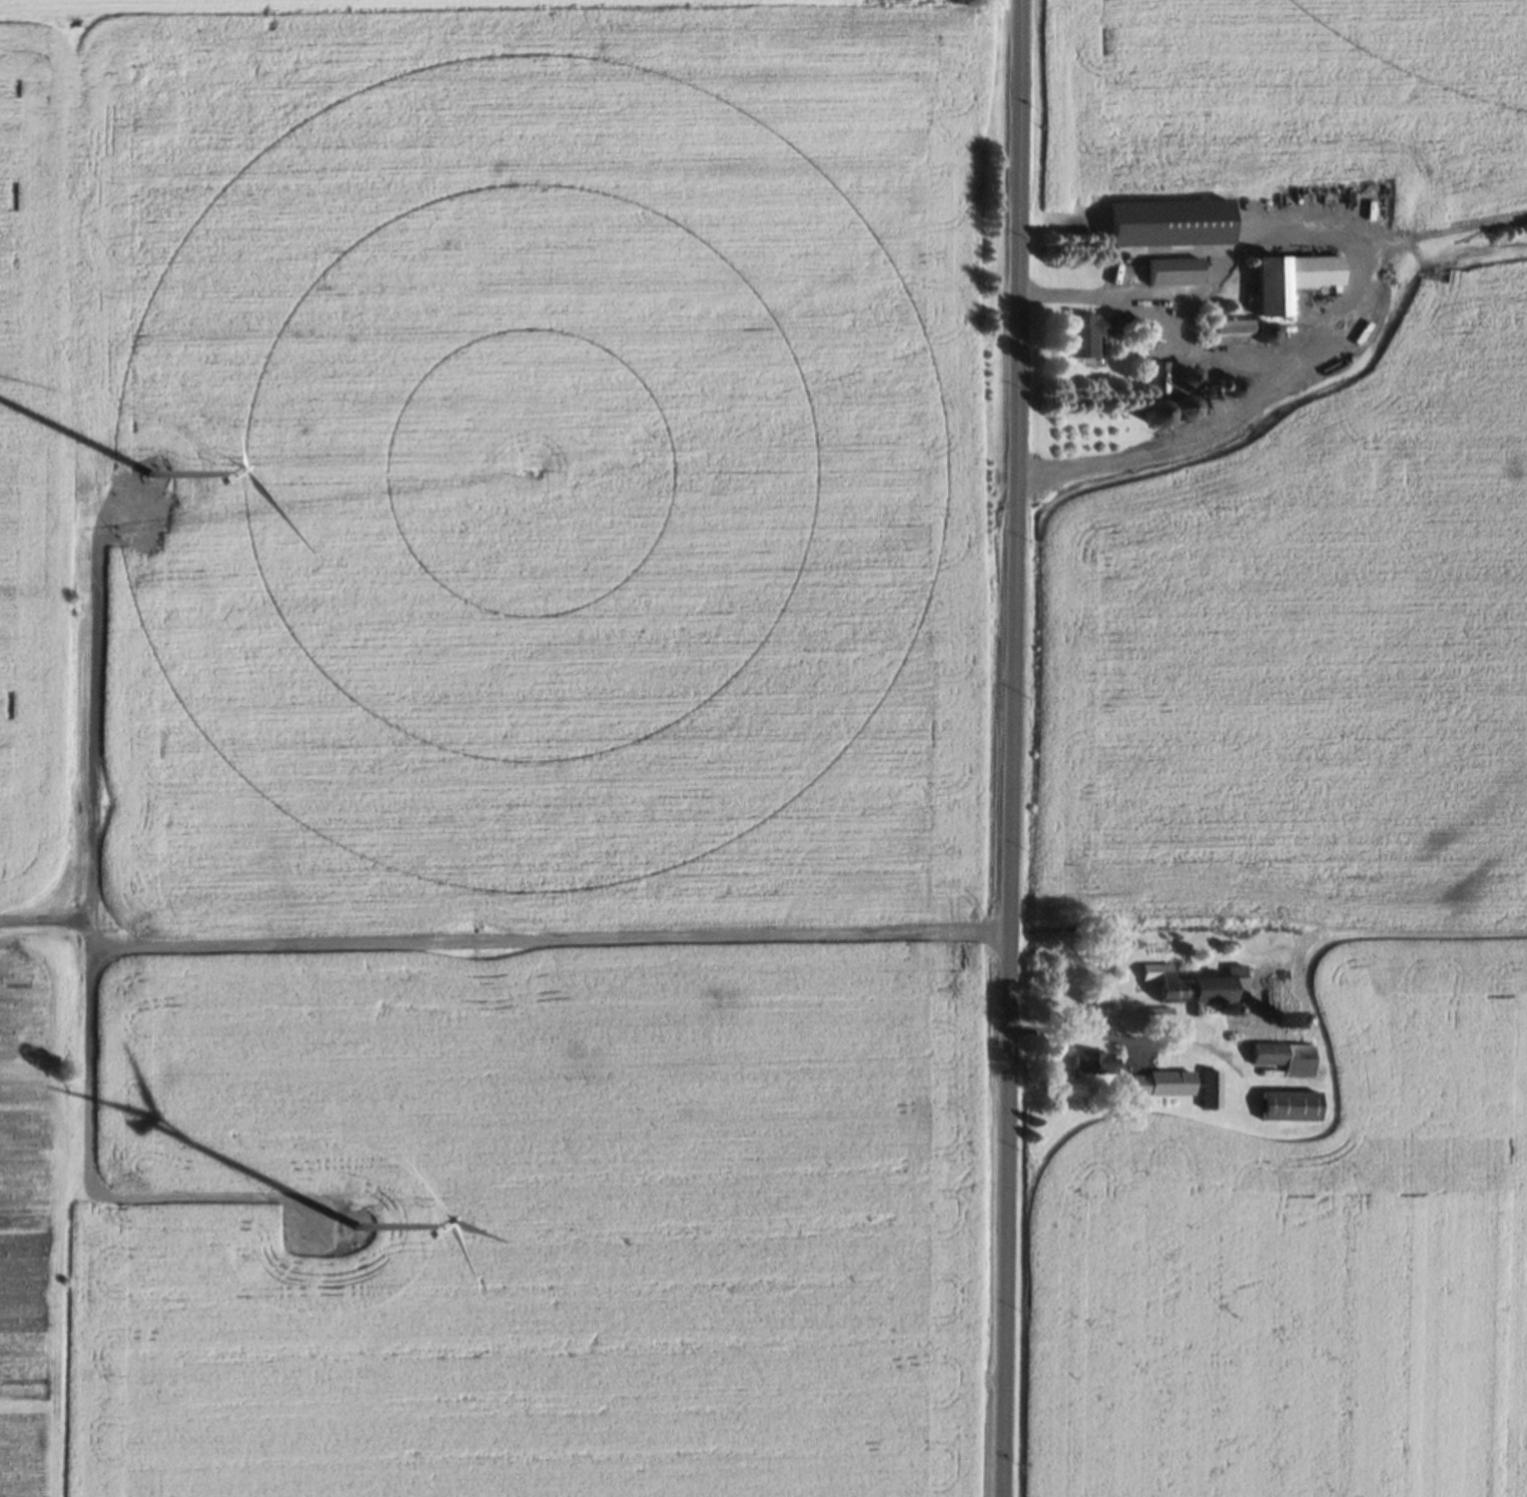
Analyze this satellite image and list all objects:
building: (1170, 227)
building: (1172, 276)
building: (1292, 284)
building: (1085, 341)
road: (1256, 380)
building: (1157, 382)
building: (1182, 406)
building: (154, 480)
wind turbine: (145, 482)
road: (1008, 748)
road: (44, 923)
road: (1346, 936)
road: (545, 945)
road: (87, 967)
building: (1190, 992)
road: (1068, 1039)
building: (1283, 1063)
building: (1160, 1088)
building: (1208, 1095)
building: (1288, 1111)
crop: (28, 1221)
crop: (540, 1228)
wind turbine: (352, 1230)

